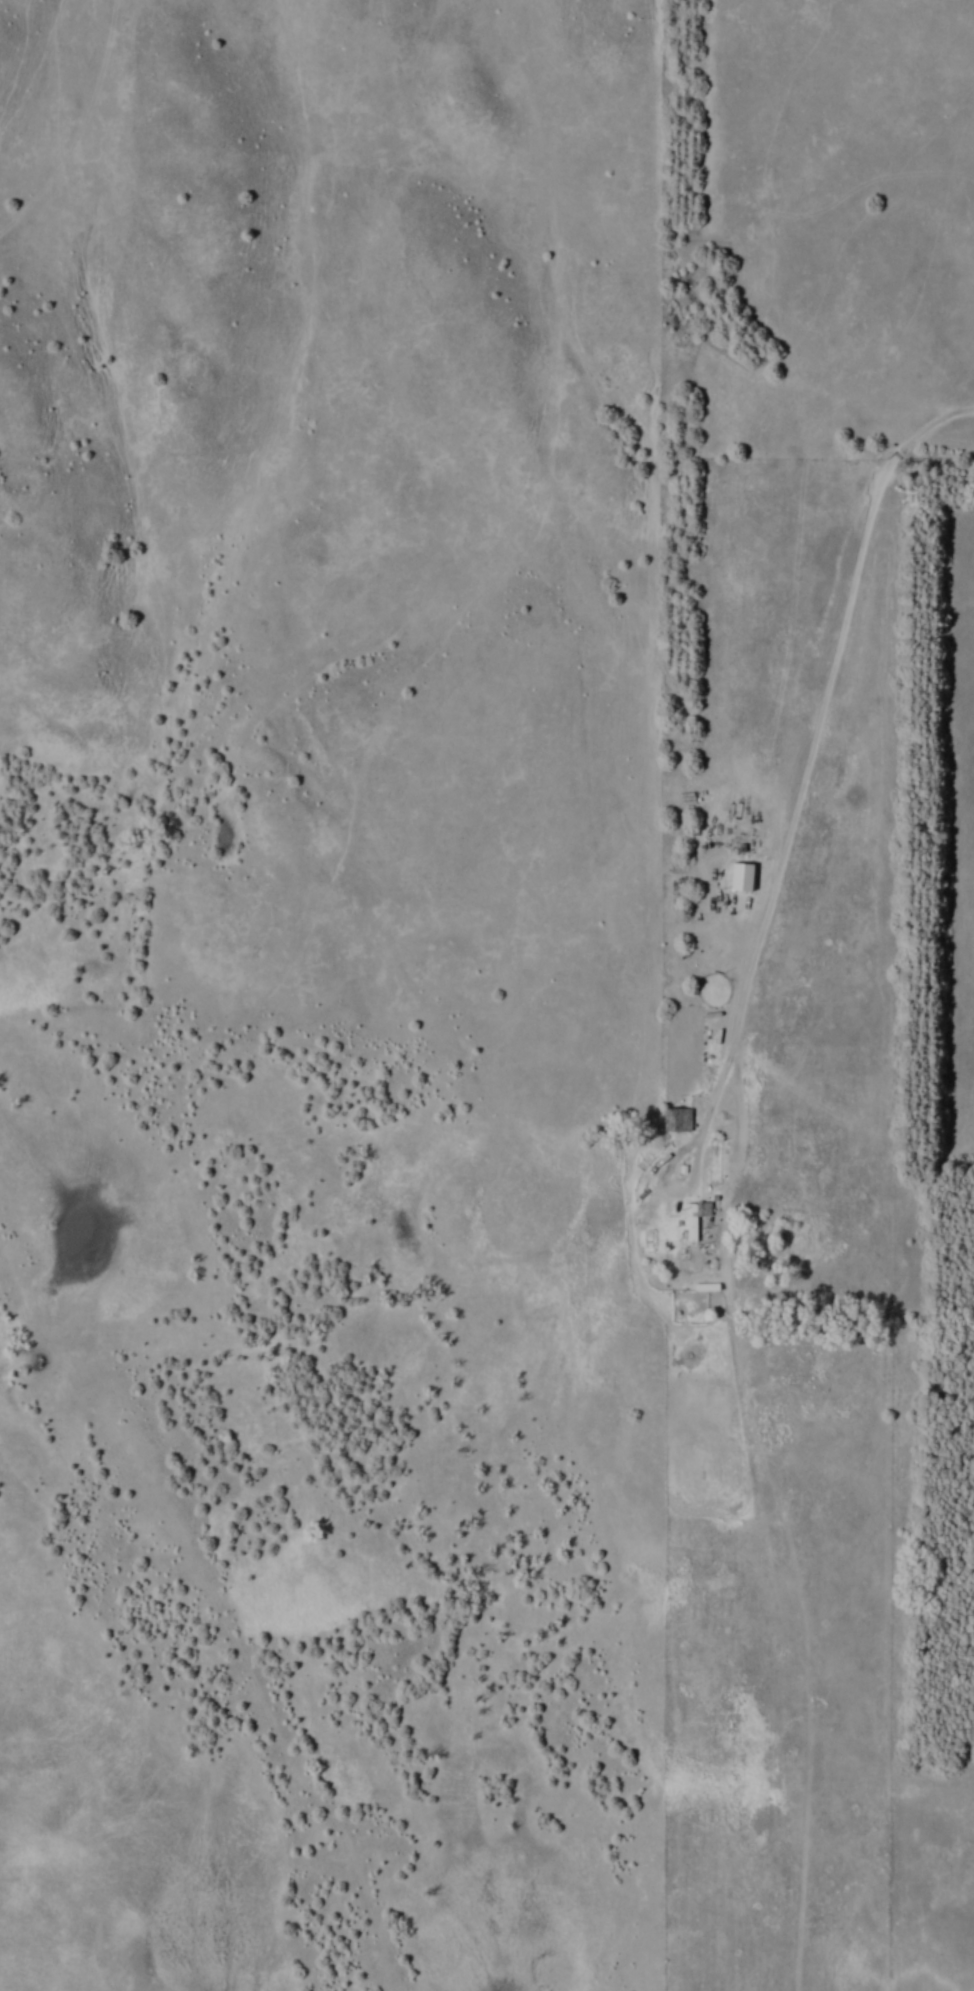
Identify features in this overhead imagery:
building: (671, 1122)
building: (694, 1218)
building: (668, 1266)

